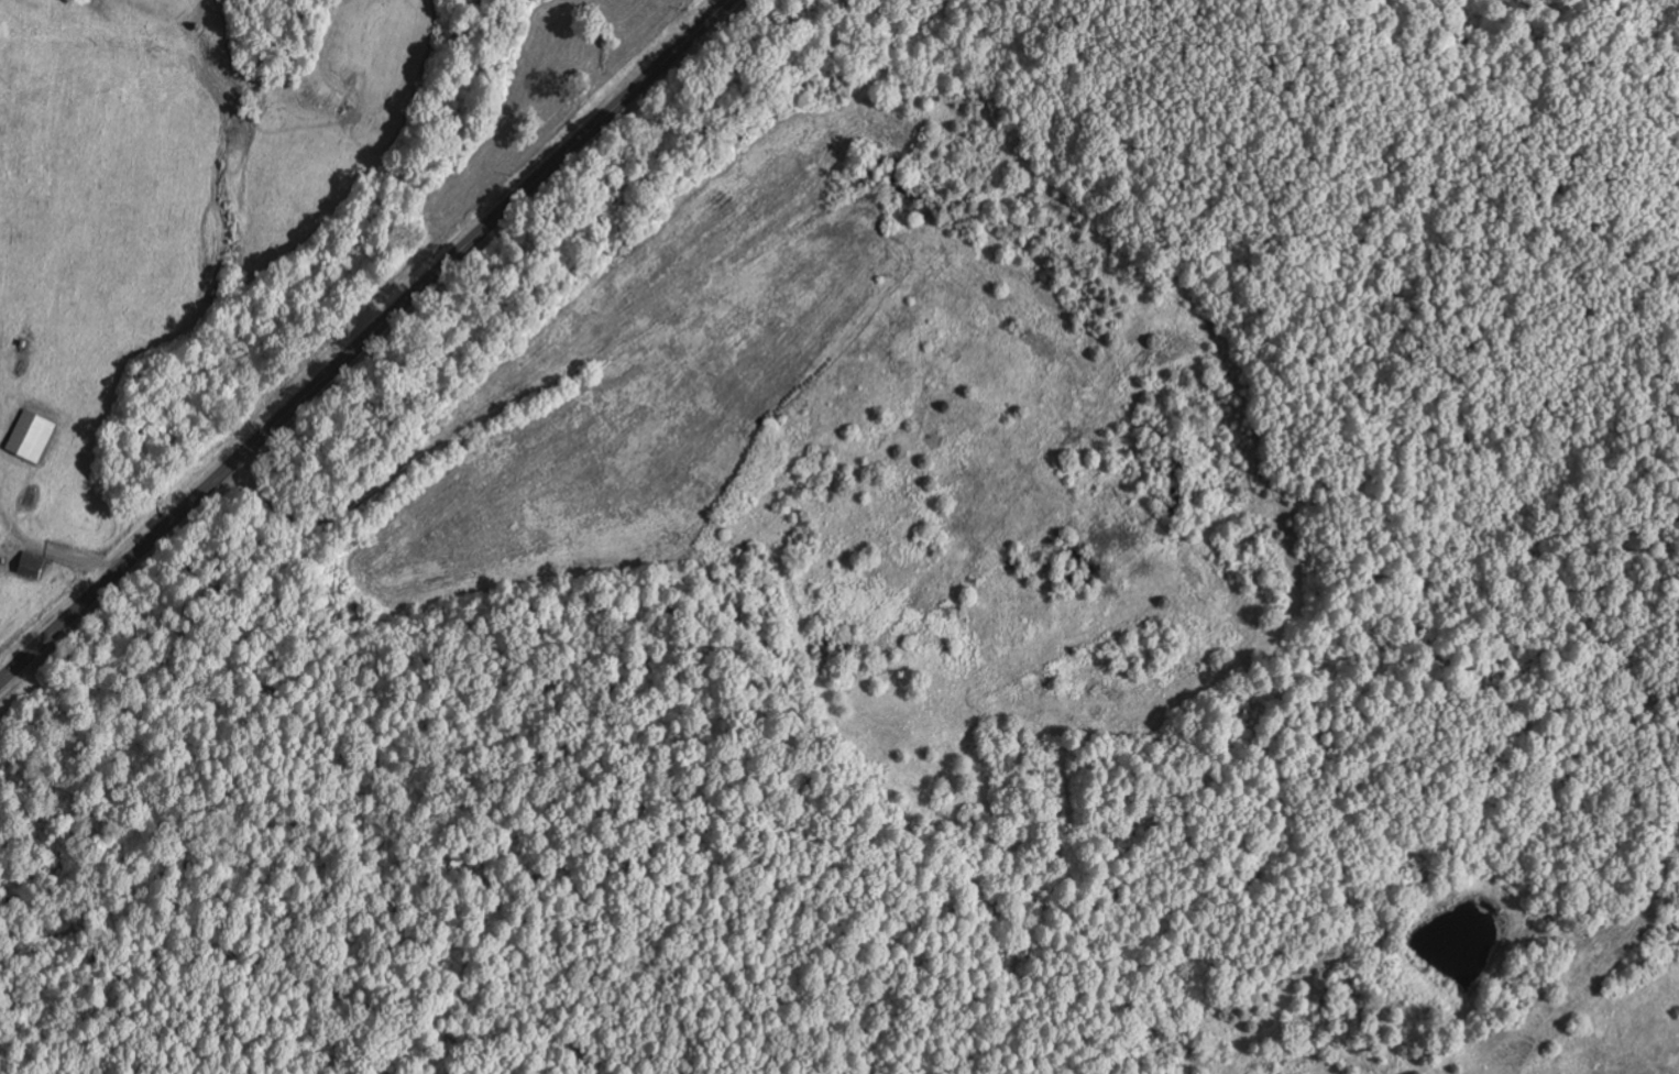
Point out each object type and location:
road: (364, 340)
building: (32, 436)
building: (32, 566)

